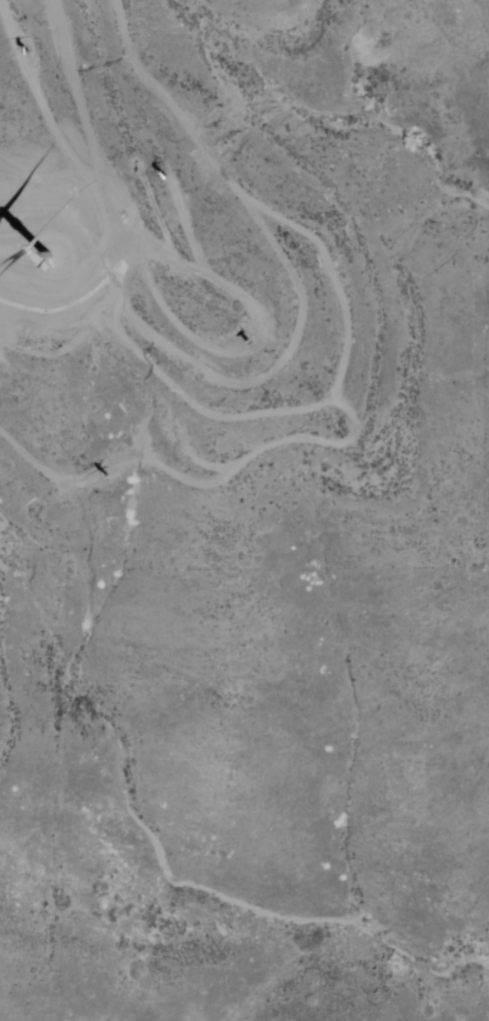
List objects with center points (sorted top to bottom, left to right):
wind turbine: (27, 52)
wind turbine: (165, 176)
wind turbine: (49, 257)
wind turbine: (262, 340)
wind turbine: (101, 480)

